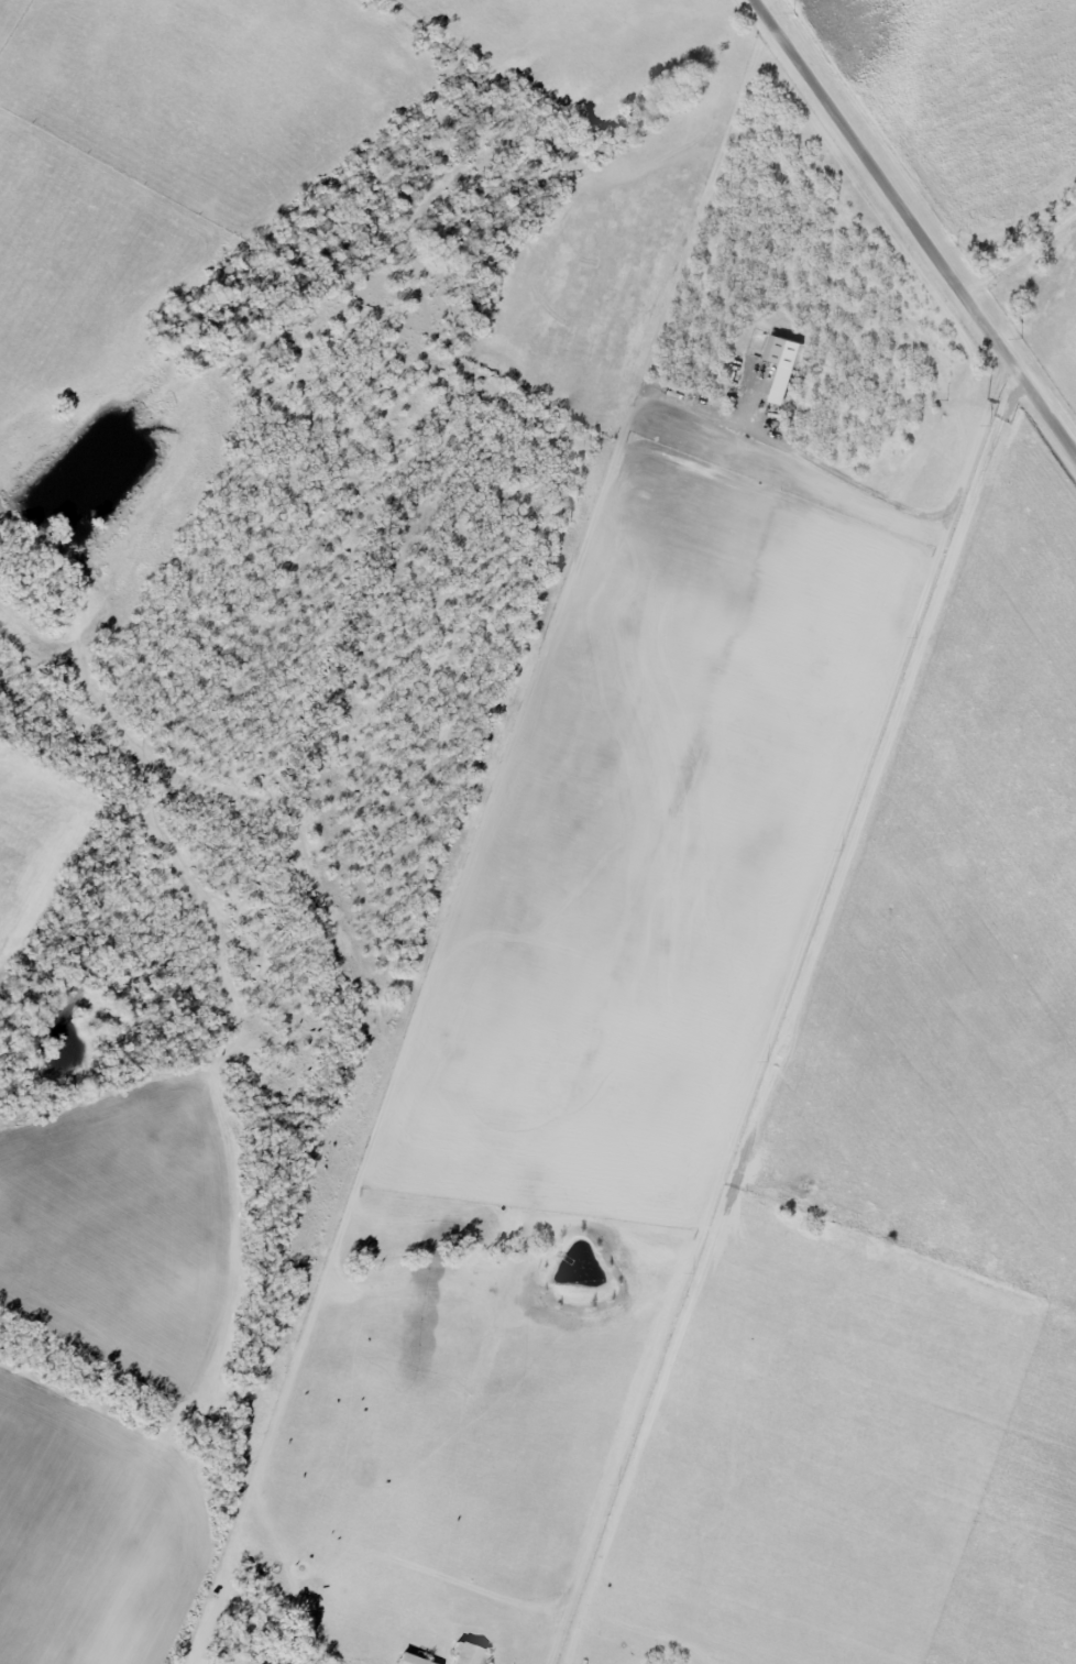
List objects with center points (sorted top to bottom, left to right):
road: (915, 229)
road: (1018, 253)
building: (786, 363)
building: (469, 1653)
building: (415, 1660)

